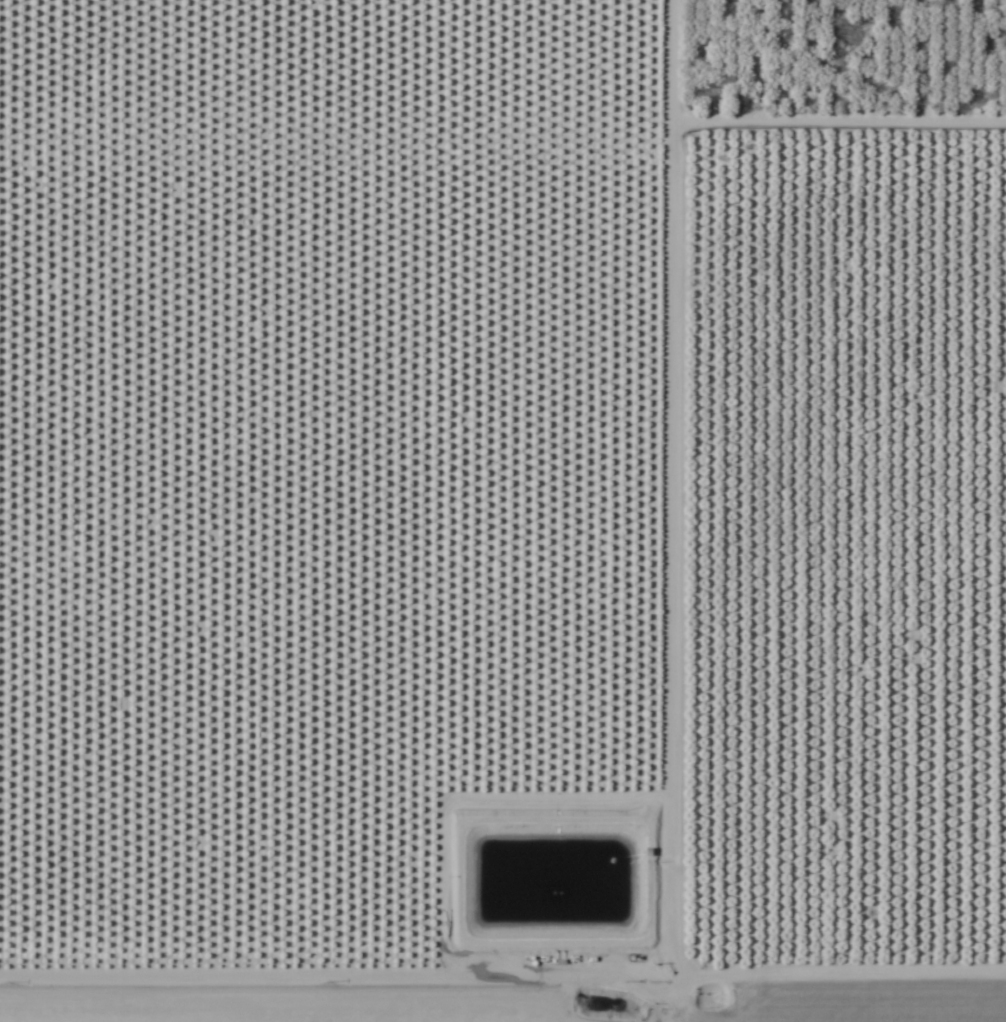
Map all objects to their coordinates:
road: (664, 511)

